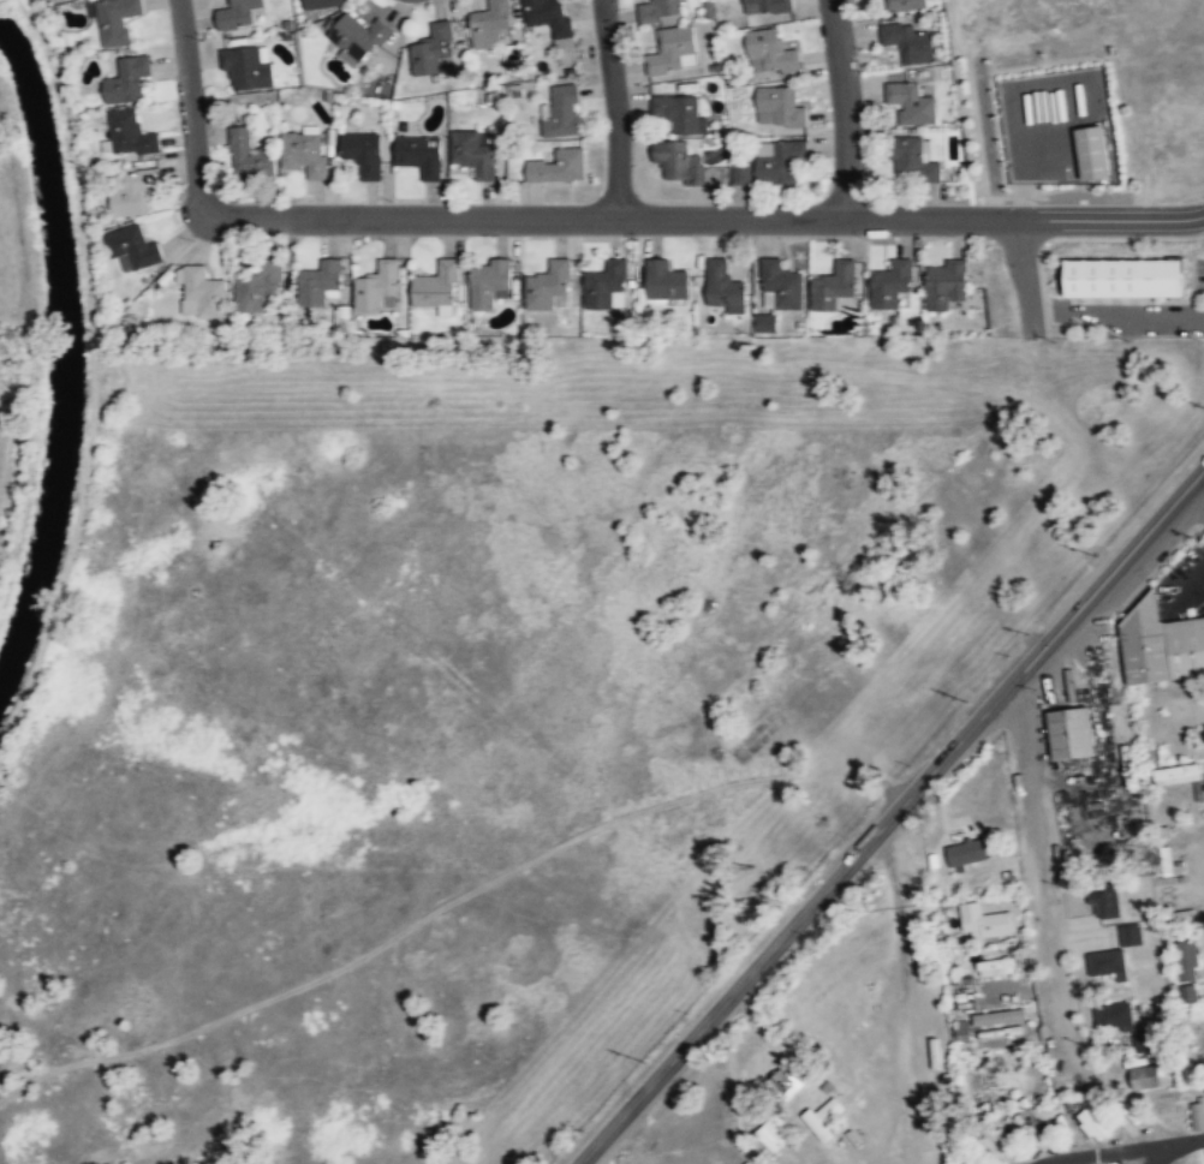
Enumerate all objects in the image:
building: (321, 4)
building: (905, 5)
building: (765, 6)
building: (658, 12)
building: (240, 14)
building: (550, 18)
building: (117, 20)
building: (490, 23)
building: (358, 36)
building: (910, 43)
building: (431, 49)
building: (670, 50)
building: (769, 53)
building: (248, 67)
building: (126, 80)
building: (911, 103)
road: (192, 107)
road: (614, 107)
building: (777, 107)
road: (846, 108)
building: (561, 112)
building: (675, 112)
building: (129, 133)
road: (988, 150)
building: (1091, 151)
building: (304, 153)
building: (362, 153)
building: (473, 154)
building: (419, 155)
building: (250, 157)
building: (911, 160)
building: (779, 161)
building: (675, 162)
building: (558, 167)
building: (743, 172)
building: (131, 192)
street lamp: (1038, 201)
street lamp: (1166, 201)
road: (704, 216)
building: (131, 247)
road: (1021, 274)
building: (1122, 276)
building: (664, 280)
building: (320, 281)
building: (550, 281)
building: (489, 283)
building: (258, 285)
building: (606, 285)
building: (890, 285)
building: (944, 285)
building: (436, 286)
building: (722, 286)
building: (780, 286)
building: (377, 287)
building: (834, 288)
building: (202, 293)
road: (1115, 309)
road: (1193, 501)
road: (1190, 584)
building: (1160, 644)
building: (1073, 733)
building: (1181, 776)
road: (890, 816)
building: (967, 852)
road: (1042, 876)
building: (1104, 902)
building: (984, 920)
building: (1131, 935)
building: (1188, 959)
building: (1108, 963)
building: (996, 966)
building: (1114, 1016)
building: (1001, 1017)
building: (962, 1028)
building: (1145, 1040)
building: (1146, 1076)
building: (787, 1079)
building: (1198, 1115)
building: (823, 1117)
building: (1095, 1123)
building: (770, 1136)
building: (1001, 1139)
road: (1182, 1141)
road: (1101, 1152)
road: (1154, 1156)

